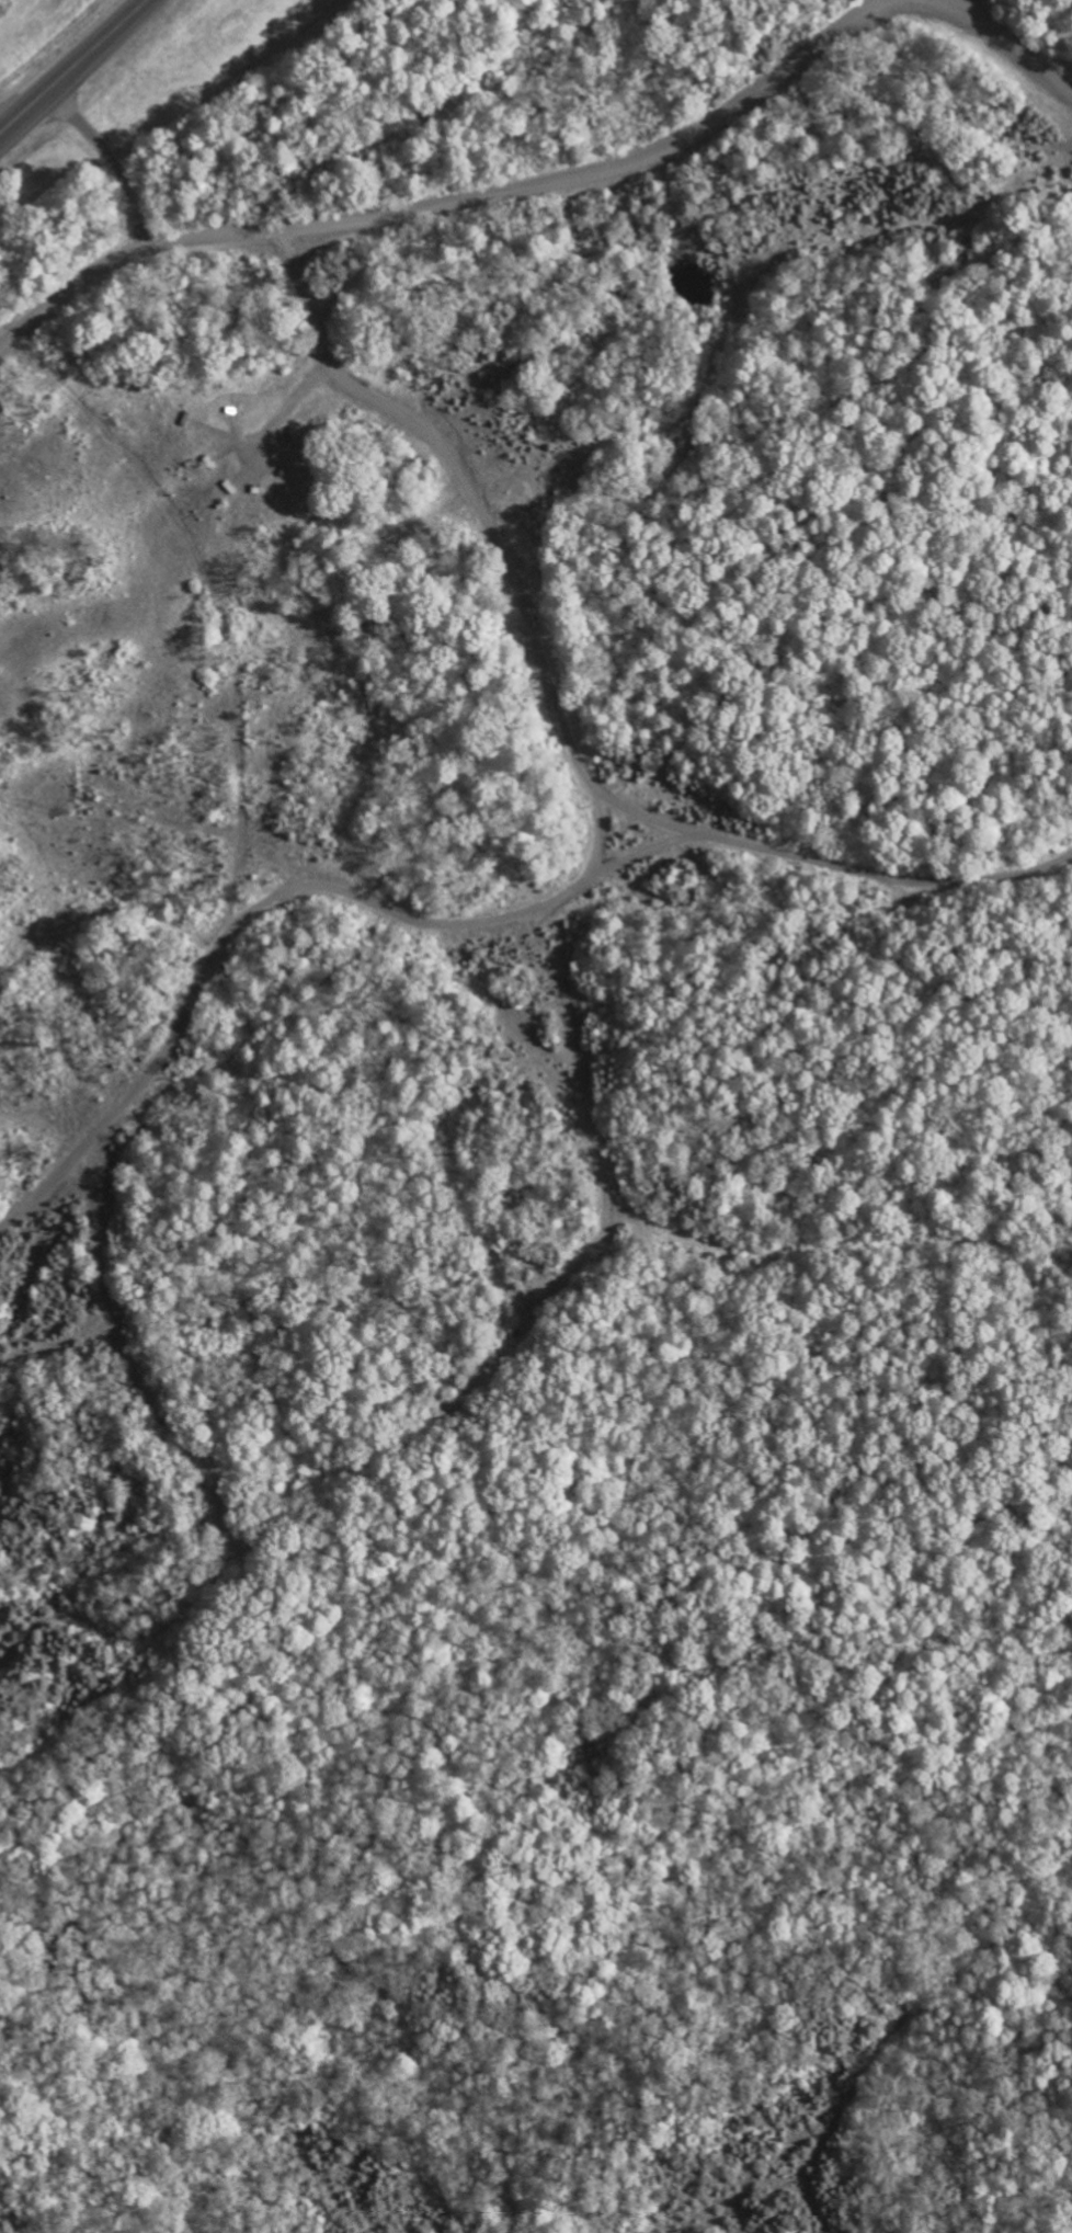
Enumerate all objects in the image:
road: (996, 39)
road: (75, 67)
road: (115, 160)
road: (465, 203)
road: (289, 402)
road: (558, 719)

